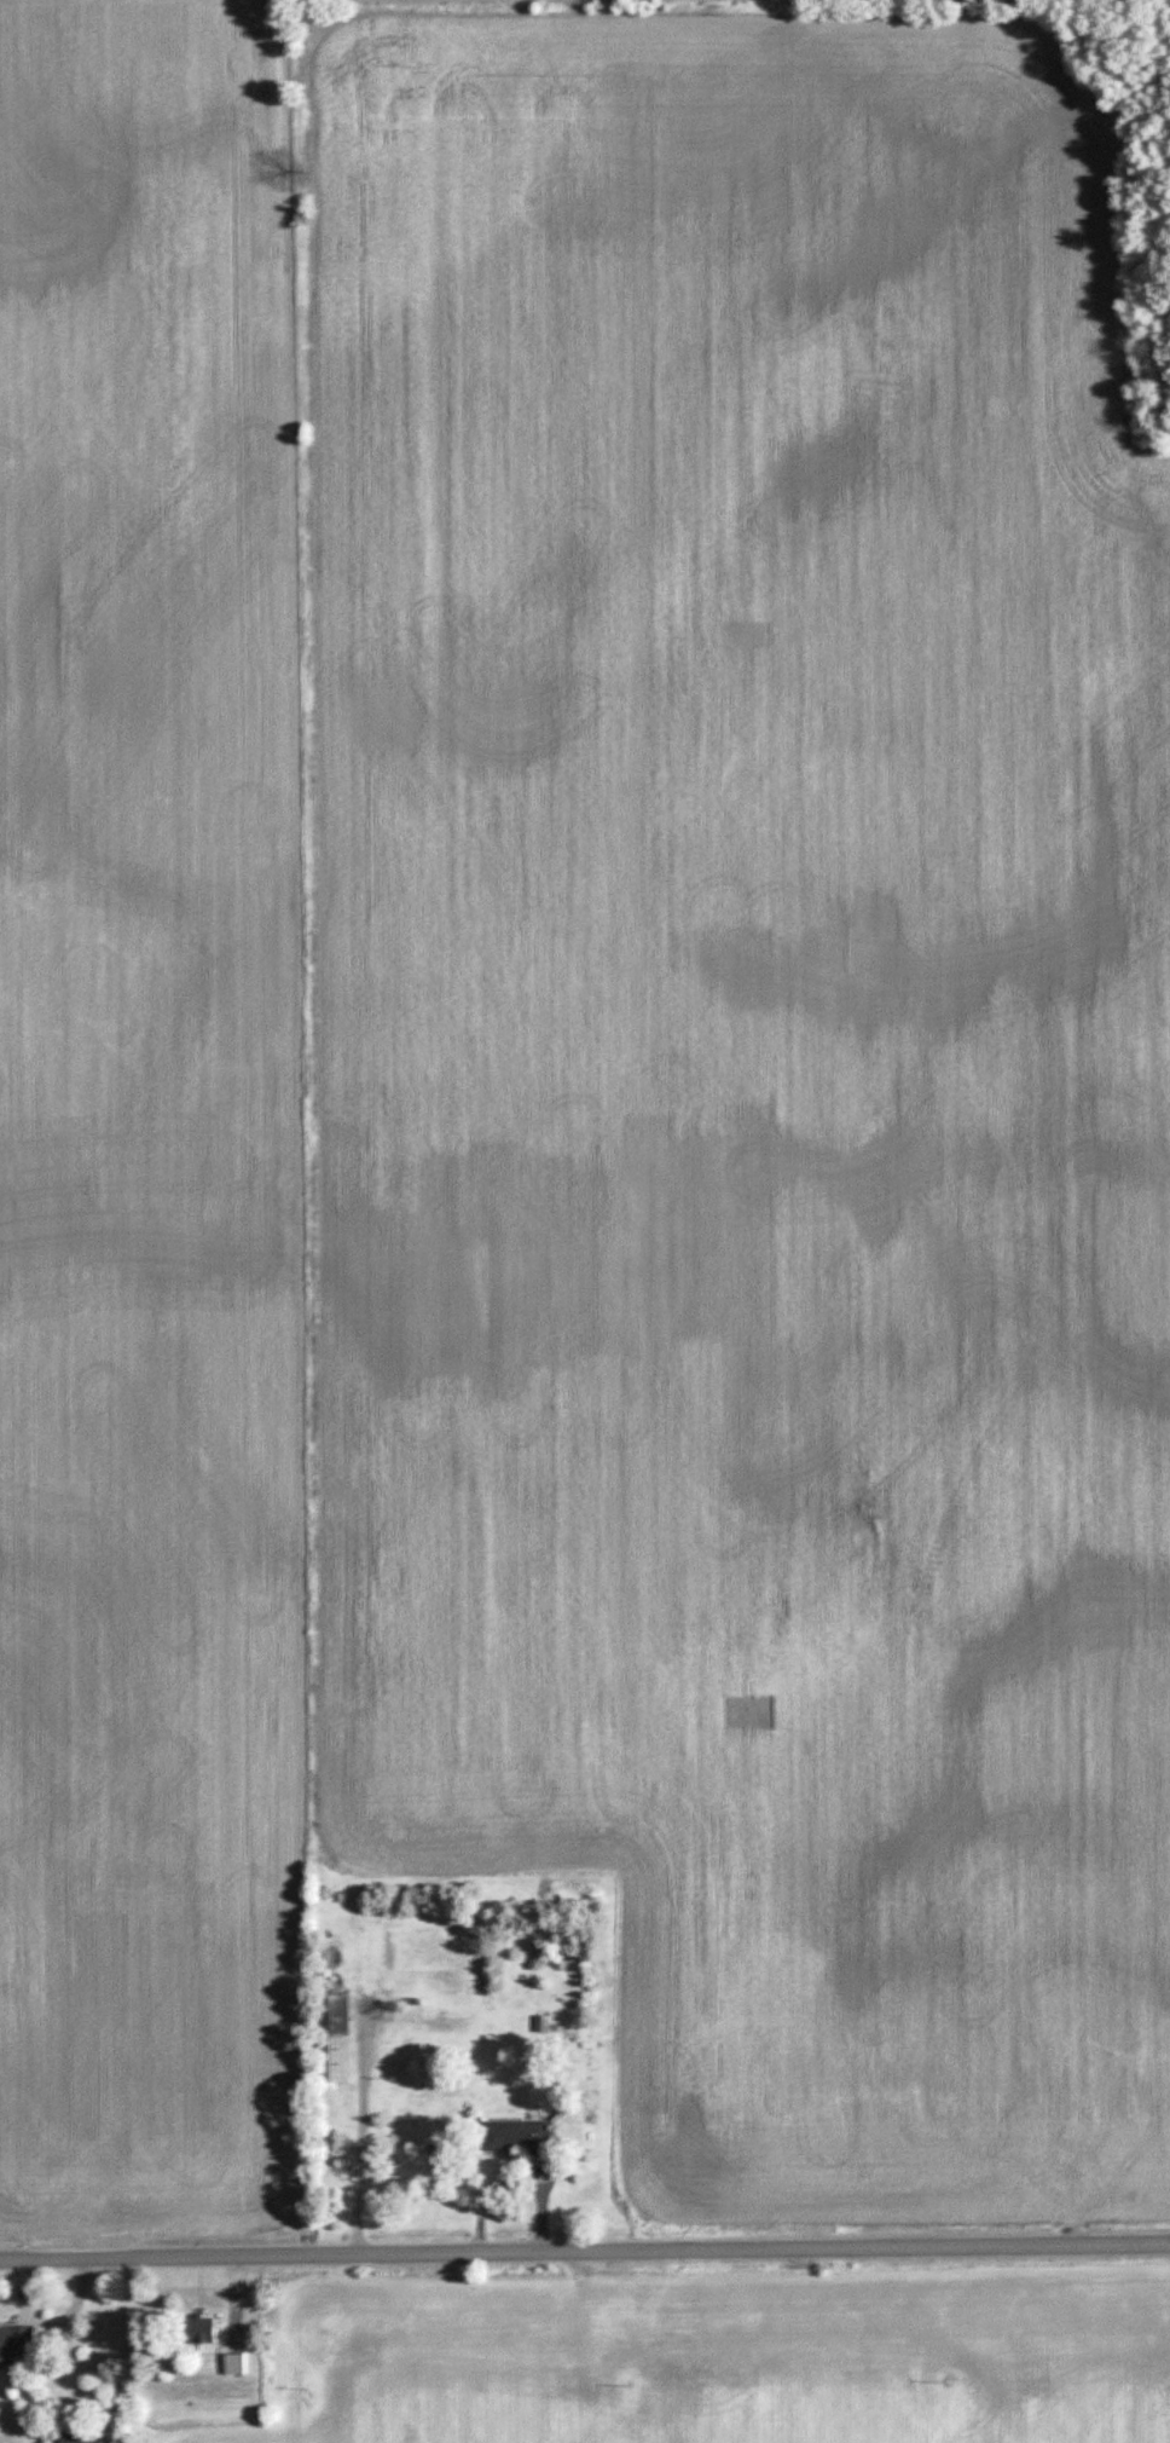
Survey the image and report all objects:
building: (336, 1959)
building: (338, 2033)
road: (357, 2135)
building: (521, 2138)
road: (585, 2252)
building: (202, 2331)
building: (18, 2343)
building: (86, 2438)

